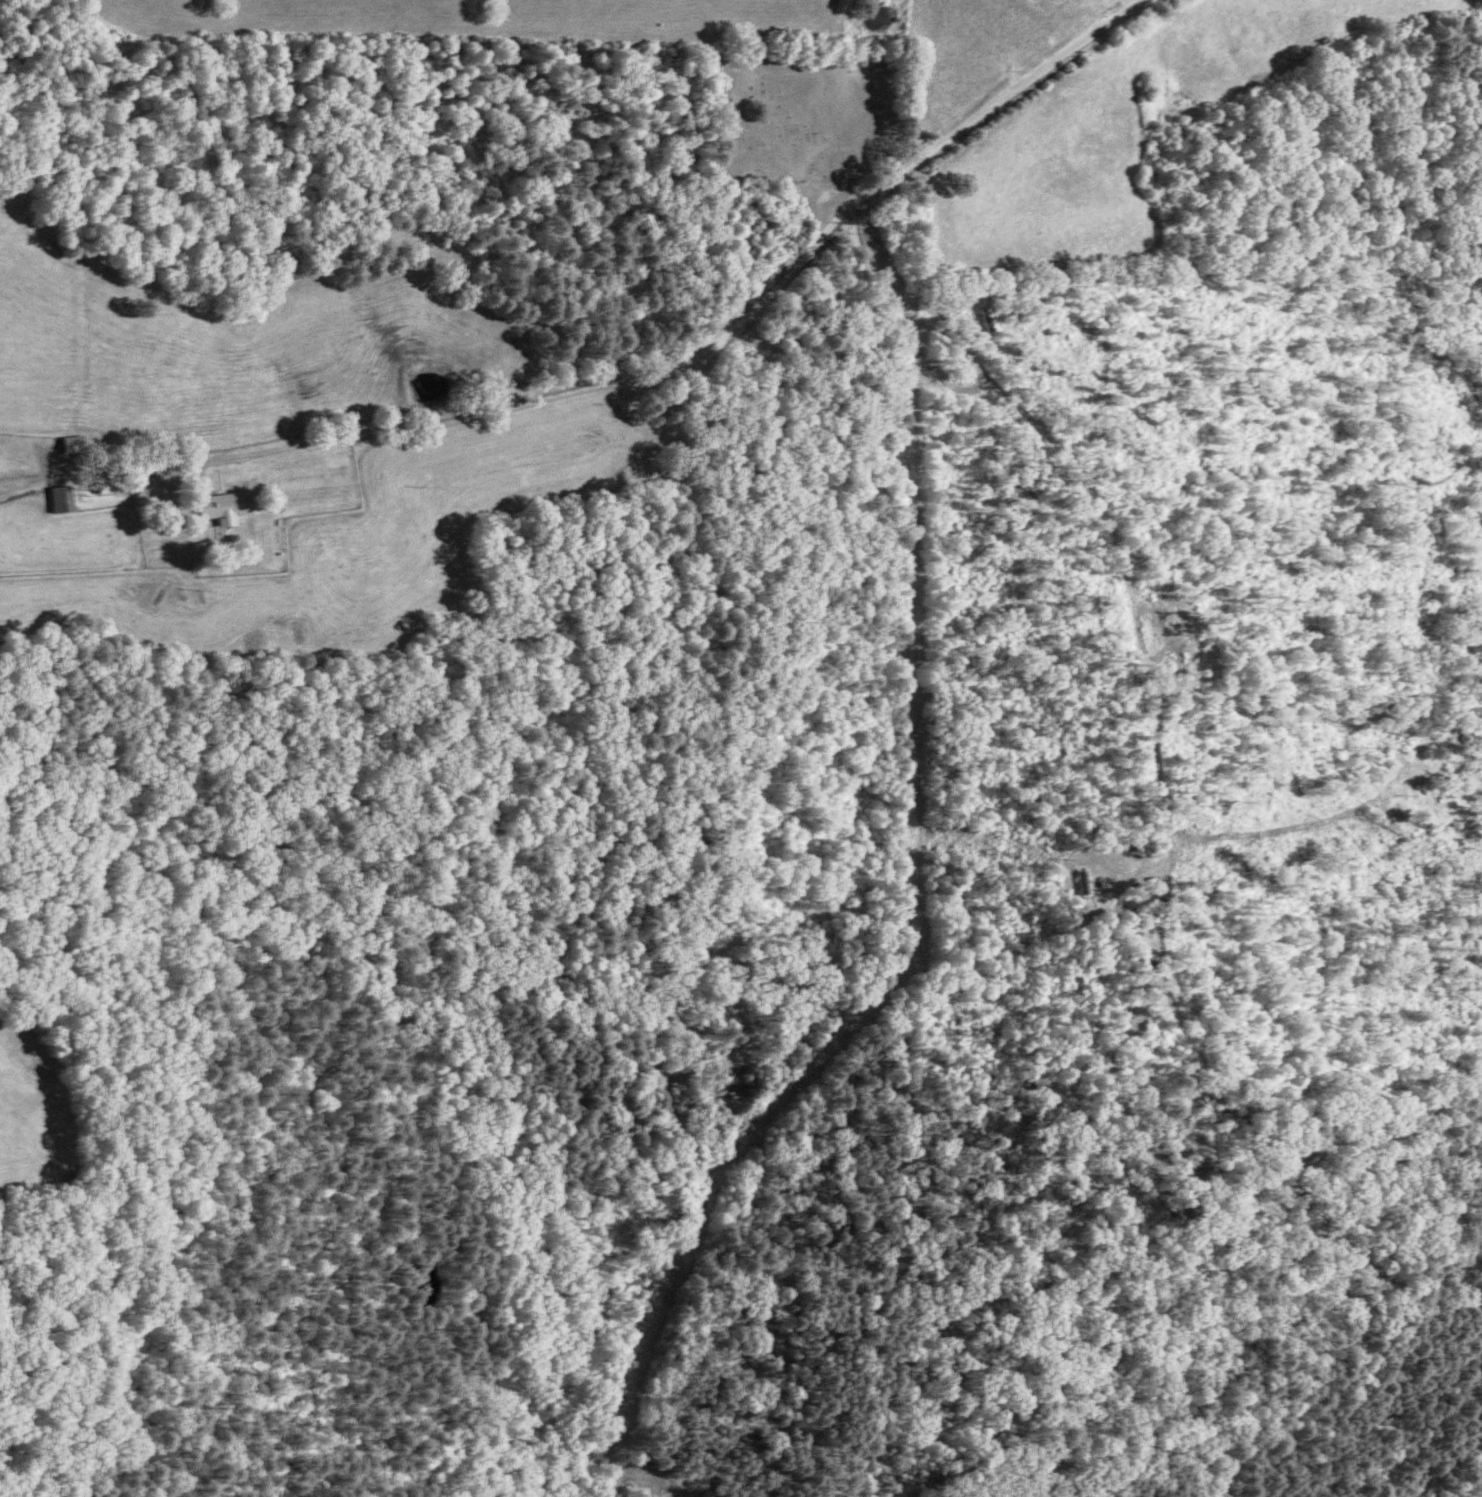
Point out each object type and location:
road: (629, 358)
building: (78, 442)
building: (113, 484)
building: (149, 491)
building: (66, 497)
building: (224, 507)
road: (743, 915)

